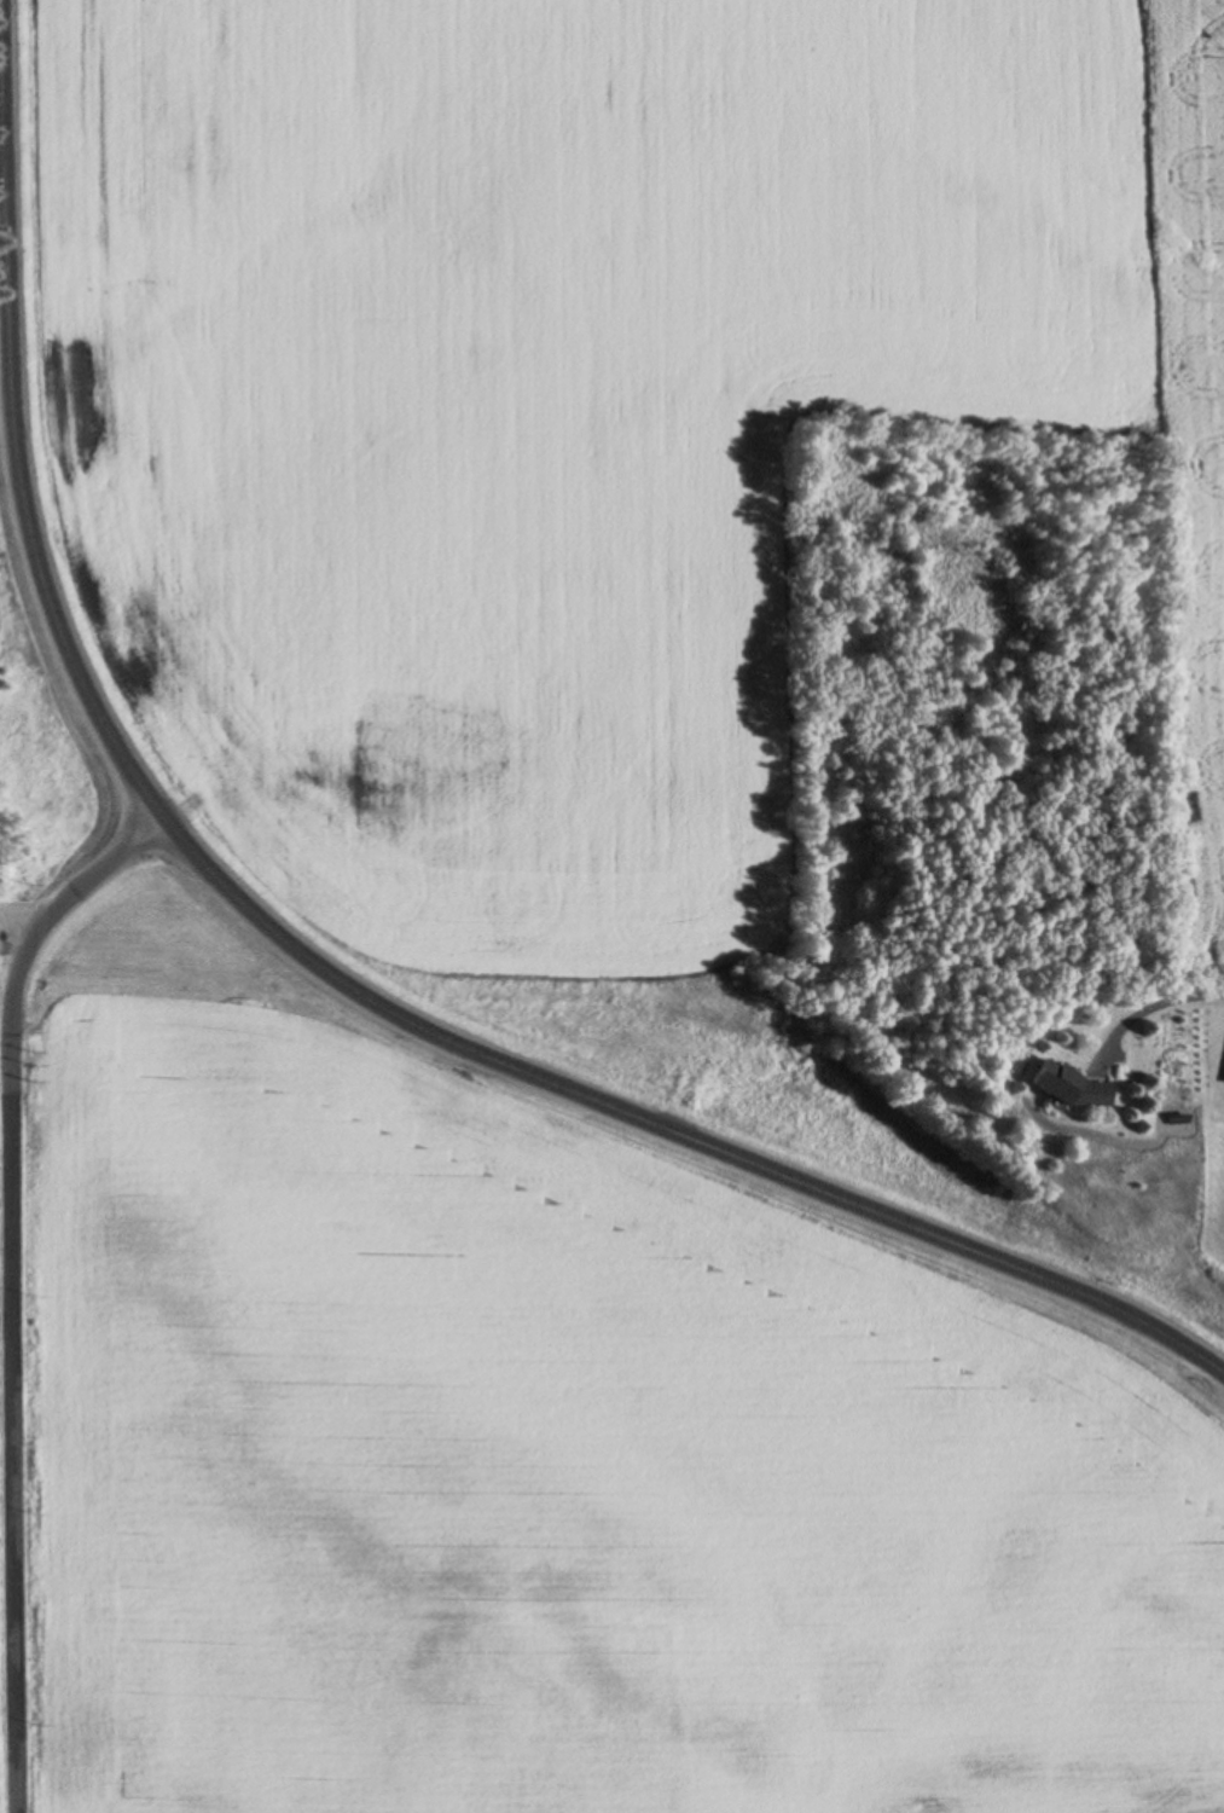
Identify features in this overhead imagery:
road: (1, 151)
road: (18, 928)
road: (304, 949)
road: (1205, 990)
building: (1066, 1070)
road: (10, 1282)

